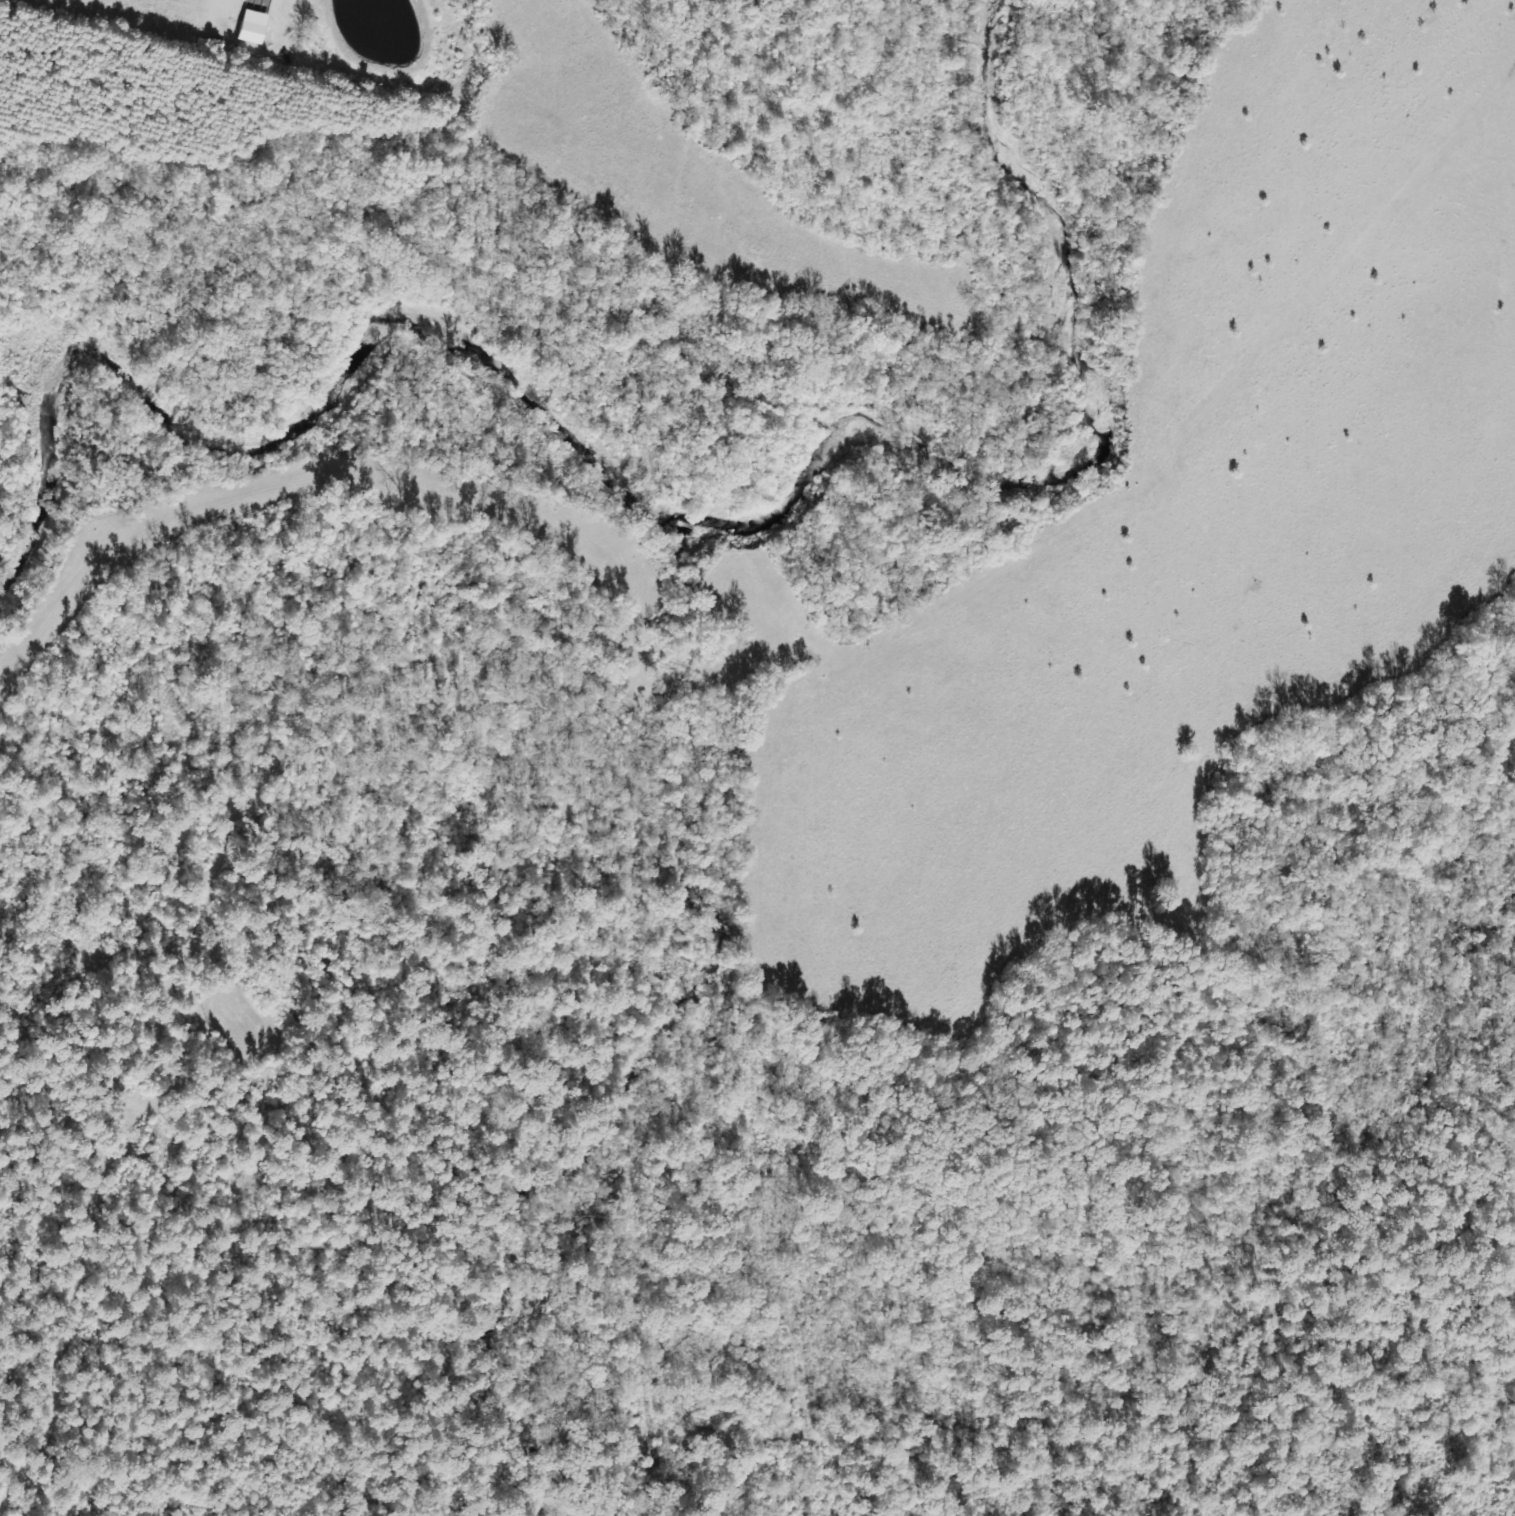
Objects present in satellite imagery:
road: (176, 57)

